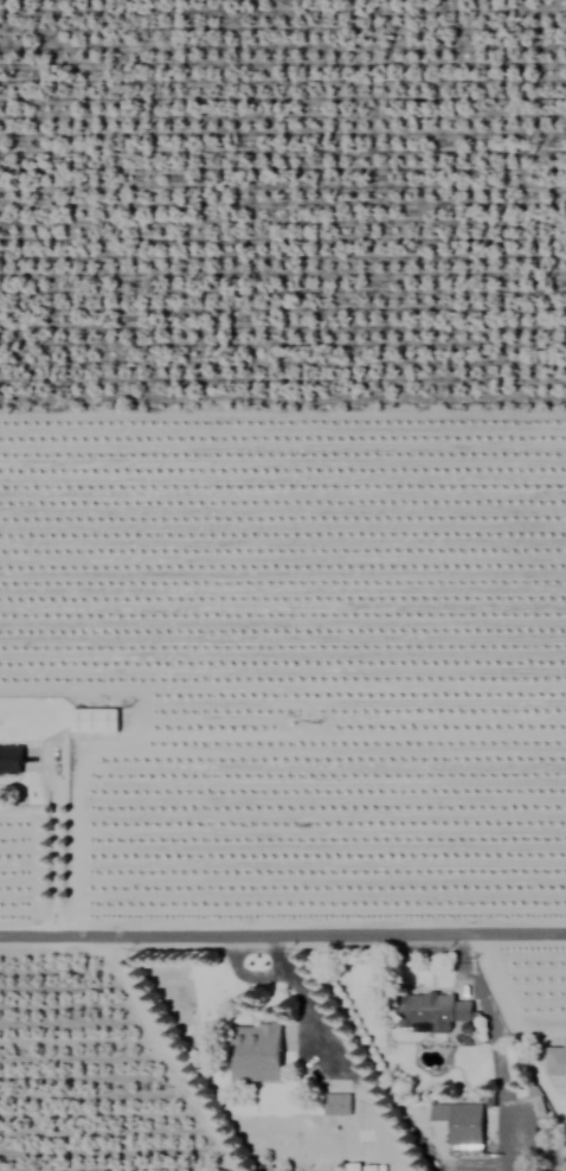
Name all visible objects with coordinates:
crop: (283, 585)
building: (92, 722)
building: (9, 761)
road: (52, 843)
road: (282, 932)
road: (488, 1020)
building: (255, 1054)
building: (335, 1105)
building: (459, 1122)
building: (353, 1167)

